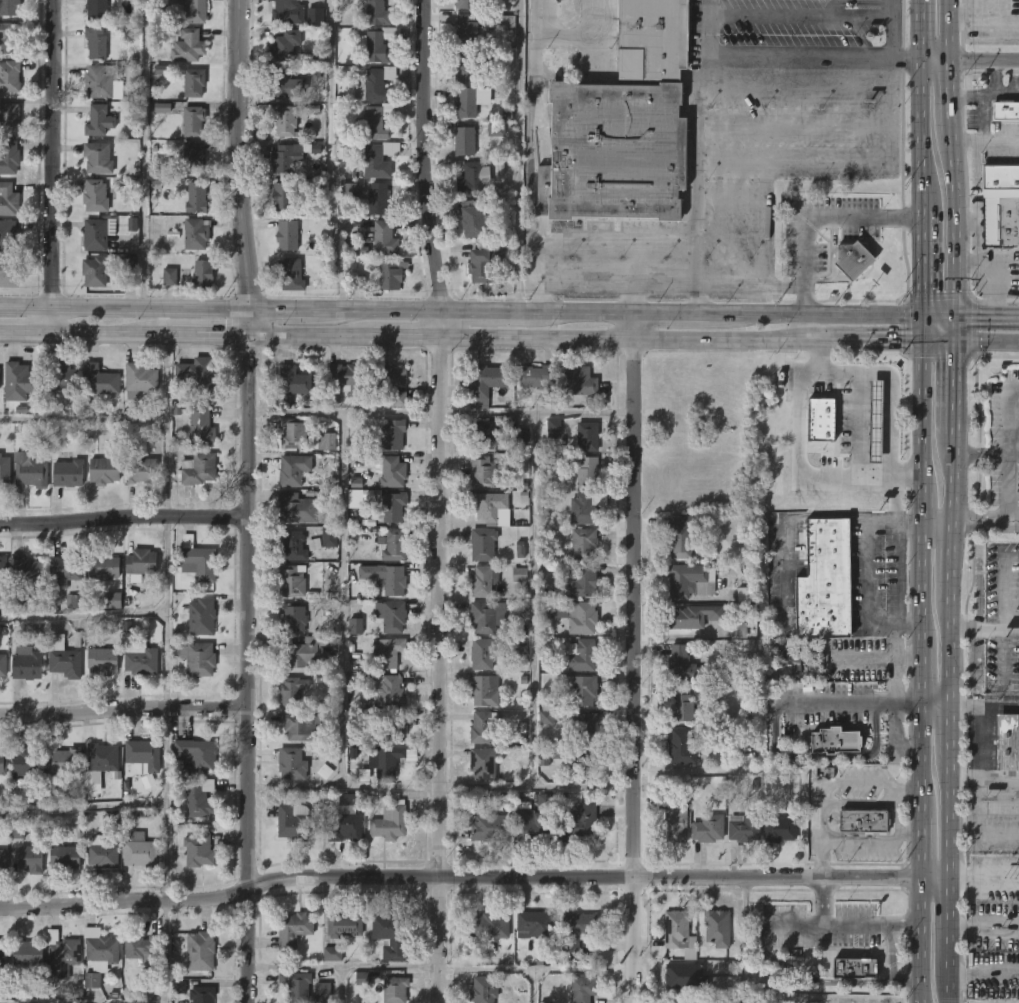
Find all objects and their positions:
building: (469, 4)
building: (1018, 5)
building: (10, 7)
building: (100, 9)
building: (186, 12)
building: (286, 12)
building: (375, 12)
road: (977, 16)
road: (1004, 17)
building: (505, 21)
road: (893, 28)
building: (468, 29)
road: (921, 29)
road: (950, 29)
road: (576, 32)
building: (10, 38)
building: (651, 39)
building: (98, 43)
building: (382, 44)
building: (288, 45)
building: (190, 46)
road: (811, 56)
road: (935, 59)
road: (984, 59)
building: (468, 66)
building: (163, 69)
building: (10, 76)
building: (103, 81)
building: (196, 81)
building: (376, 84)
building: (289, 86)
road: (991, 94)
road: (1008, 94)
road: (950, 97)
building: (465, 102)
building: (162, 108)
building: (1006, 109)
building: (10, 117)
road: (981, 117)
building: (283, 118)
building: (197, 119)
building: (100, 120)
building: (378, 122)
road: (921, 136)
building: (467, 141)
road: (985, 141)
building: (615, 153)
road: (142, 154)
building: (9, 155)
road: (236, 156)
road: (330, 156)
road: (518, 156)
road: (532, 156)
road: (700, 157)
building: (99, 158)
building: (197, 158)
building: (287, 158)
building: (378, 158)
road: (820, 162)
road: (55, 166)
road: (423, 169)
building: (473, 177)
building: (998, 178)
building: (350, 191)
building: (97, 196)
building: (198, 197)
building: (289, 199)
building: (9, 200)
building: (381, 200)
road: (951, 200)
road: (814, 214)
building: (476, 220)
building: (1000, 221)
building: (132, 224)
building: (99, 234)
building: (198, 234)
building: (9, 236)
building: (289, 236)
building: (387, 238)
road: (975, 242)
building: (858, 261)
building: (485, 265)
road: (922, 265)
building: (96, 272)
building: (9, 274)
building: (204, 274)
building: (294, 275)
building: (393, 275)
building: (170, 276)
road: (584, 281)
road: (649, 282)
road: (991, 283)
road: (753, 286)
road: (952, 291)
road: (123, 308)
traffic signals: (246, 312)
road: (584, 313)
traffic signals: (923, 317)
road: (938, 317)
traffic signals: (953, 318)
road: (972, 318)
road: (1005, 318)
road: (246, 323)
road: (634, 326)
road: (923, 329)
road: (952, 330)
road: (26, 333)
road: (110, 333)
road: (207, 335)
traffic signals: (247, 335)
road: (308, 335)
road: (407, 337)
road: (627, 338)
road: (846, 341)
road: (903, 342)
traffic signals: (923, 342)
road: (937, 342)
traffic signals: (952, 342)
road: (985, 342)
road: (883, 356)
road: (922, 356)
road: (845, 370)
road: (902, 371)
building: (199, 374)
building: (535, 376)
building: (63, 377)
building: (0, 378)
building: (142, 378)
building: (349, 378)
building: (292, 380)
building: (102, 381)
building: (21, 382)
building: (582, 382)
building: (489, 385)
road: (952, 387)
building: (389, 388)
building: (548, 399)
building: (850, 399)
road: (345, 412)
road: (539, 412)
road: (807, 412)
road: (883, 419)
building: (203, 425)
building: (553, 427)
building: (488, 433)
building: (294, 434)
building: (395, 434)
building: (522, 436)
building: (590, 437)
building: (326, 441)
road: (896, 458)
building: (846, 460)
building: (199, 468)
building: (295, 468)
building: (5, 470)
building: (29, 470)
building: (142, 470)
building: (391, 470)
building: (103, 471)
building: (486, 471)
building: (587, 472)
building: (65, 473)
road: (1006, 474)
road: (952, 476)
building: (356, 482)
road: (877, 490)
building: (358, 498)
building: (491, 504)
building: (396, 505)
building: (589, 506)
building: (295, 507)
road: (124, 518)
road: (1012, 519)
road: (937, 520)
road: (166, 522)
building: (329, 537)
building: (680, 538)
building: (485, 543)
building: (586, 543)
building: (397, 544)
building: (292, 546)
building: (194, 558)
road: (951, 559)
building: (140, 562)
building: (101, 566)
building: (2, 567)
building: (25, 569)
building: (62, 570)
building: (520, 574)
building: (387, 577)
building: (684, 579)
building: (291, 580)
building: (824, 580)
building: (482, 581)
building: (585, 582)
building: (707, 583)
road: (1007, 585)
building: (746, 594)
building: (112, 600)
road: (343, 600)
road: (534, 600)
building: (75, 601)
road: (82, 616)
building: (200, 616)
building: (390, 616)
building: (485, 616)
building: (580, 617)
building: (691, 617)
building: (294, 618)
road: (875, 625)
building: (356, 626)
road: (985, 629)
building: (738, 630)
building: (388, 650)
building: (304, 651)
road: (950, 651)
building: (481, 653)
building: (586, 655)
building: (195, 657)
building: (63, 659)
building: (100, 660)
building: (139, 660)
building: (786, 662)
building: (819, 662)
building: (25, 663)
building: (680, 663)
building: (2, 666)
building: (749, 667)
road: (250, 668)
road: (442, 670)
road: (634, 670)
road: (921, 686)
building: (582, 689)
building: (293, 690)
building: (389, 691)
building: (483, 691)
road: (866, 703)
building: (679, 704)
road: (984, 705)
road: (124, 709)
building: (546, 714)
building: (300, 725)
building: (587, 725)
building: (396, 726)
building: (485, 726)
road: (950, 731)
road: (981, 741)
building: (832, 742)
building: (1009, 743)
building: (680, 746)
building: (194, 754)
building: (141, 755)
building: (100, 758)
building: (543, 759)
building: (578, 760)
building: (2, 761)
building: (63, 761)
building: (387, 762)
building: (25, 763)
building: (291, 763)
building: (484, 763)
road: (985, 779)
building: (148, 781)
building: (92, 782)
road: (827, 784)
road: (345, 788)
road: (538, 788)
building: (197, 798)
road: (165, 804)
road: (82, 808)
road: (950, 818)
building: (678, 819)
building: (537, 820)
building: (292, 821)
building: (389, 821)
building: (863, 822)
building: (344, 823)
building: (581, 824)
building: (484, 827)
building: (780, 828)
building: (708, 829)
building: (17, 830)
building: (742, 830)
road: (908, 832)
road: (881, 841)
building: (138, 849)
building: (197, 849)
building: (101, 853)
building: (63, 857)
building: (28, 858)
building: (2, 861)
road: (473, 877)
road: (984, 879)
road: (819, 900)
road: (843, 921)
building: (534, 924)
building: (487, 925)
building: (343, 926)
road: (949, 926)
building: (292, 928)
building: (576, 928)
building: (719, 928)
road: (984, 929)
building: (673, 930)
building: (389, 935)
building: (99, 945)
building: (140, 947)
building: (60, 948)
building: (199, 949)
building: (1, 950)
road: (166, 950)
building: (27, 951)
building: (333, 954)
road: (887, 962)
building: (854, 966)
road: (344, 967)
road: (537, 968)
road: (984, 975)
building: (688, 977)
building: (362, 978)
road: (343, 984)
building: (295, 985)
building: (179, 986)
building: (485, 989)
building: (585, 989)
road: (949, 989)
building: (397, 990)
building: (323, 991)
building: (201, 994)
road: (83, 1000)
building: (680, 1001)
building: (733, 1001)

